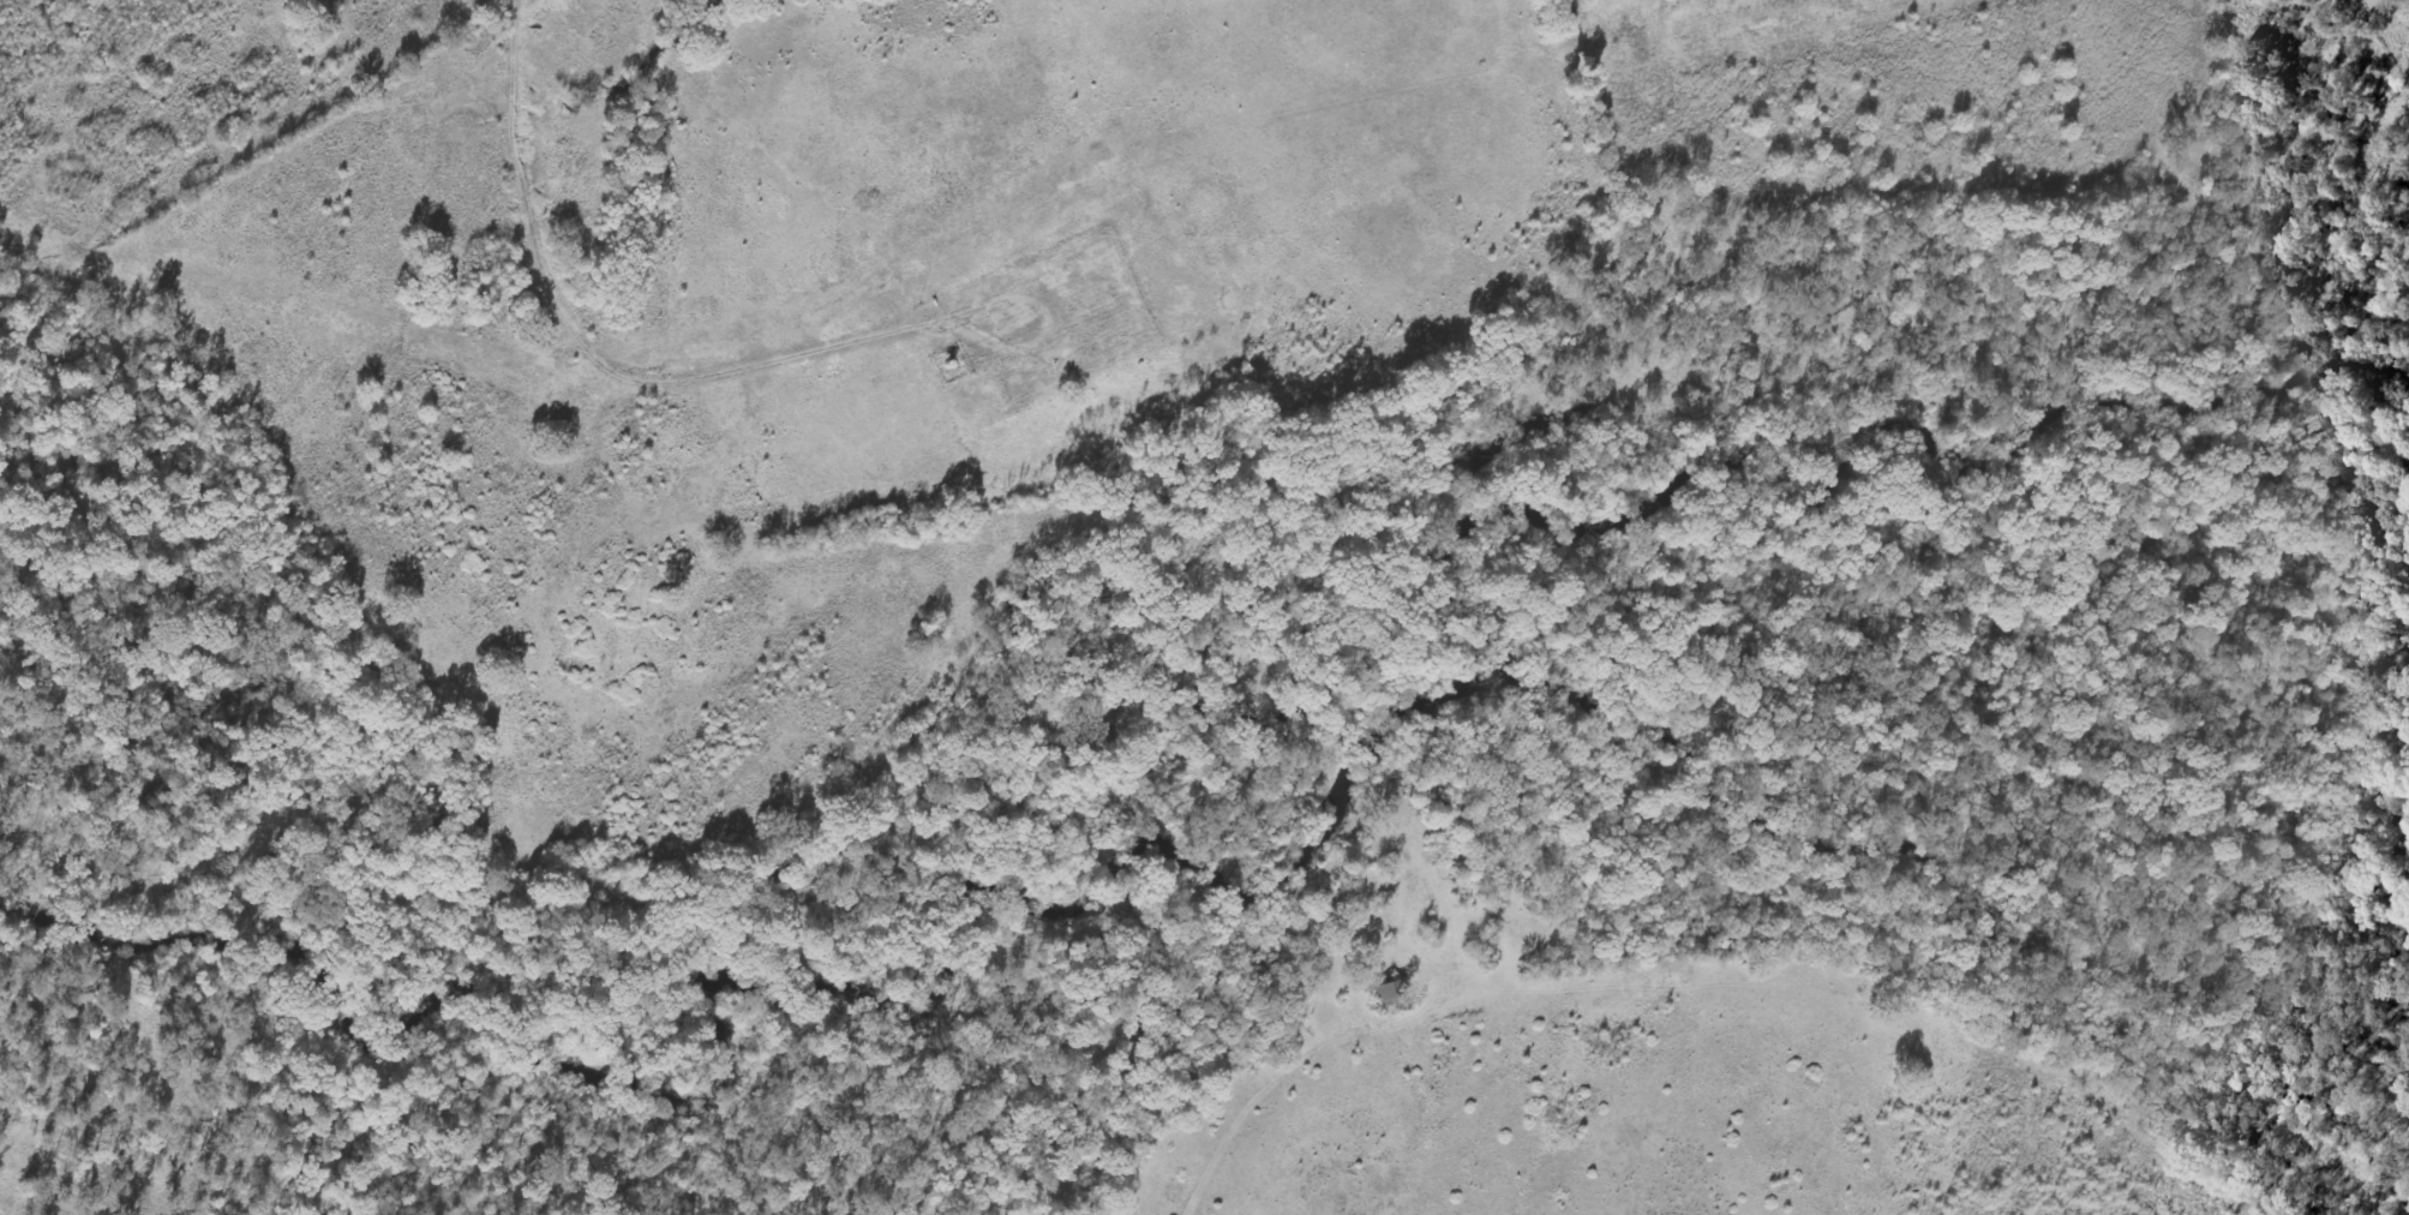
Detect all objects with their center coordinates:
road: (1230, 1132)

